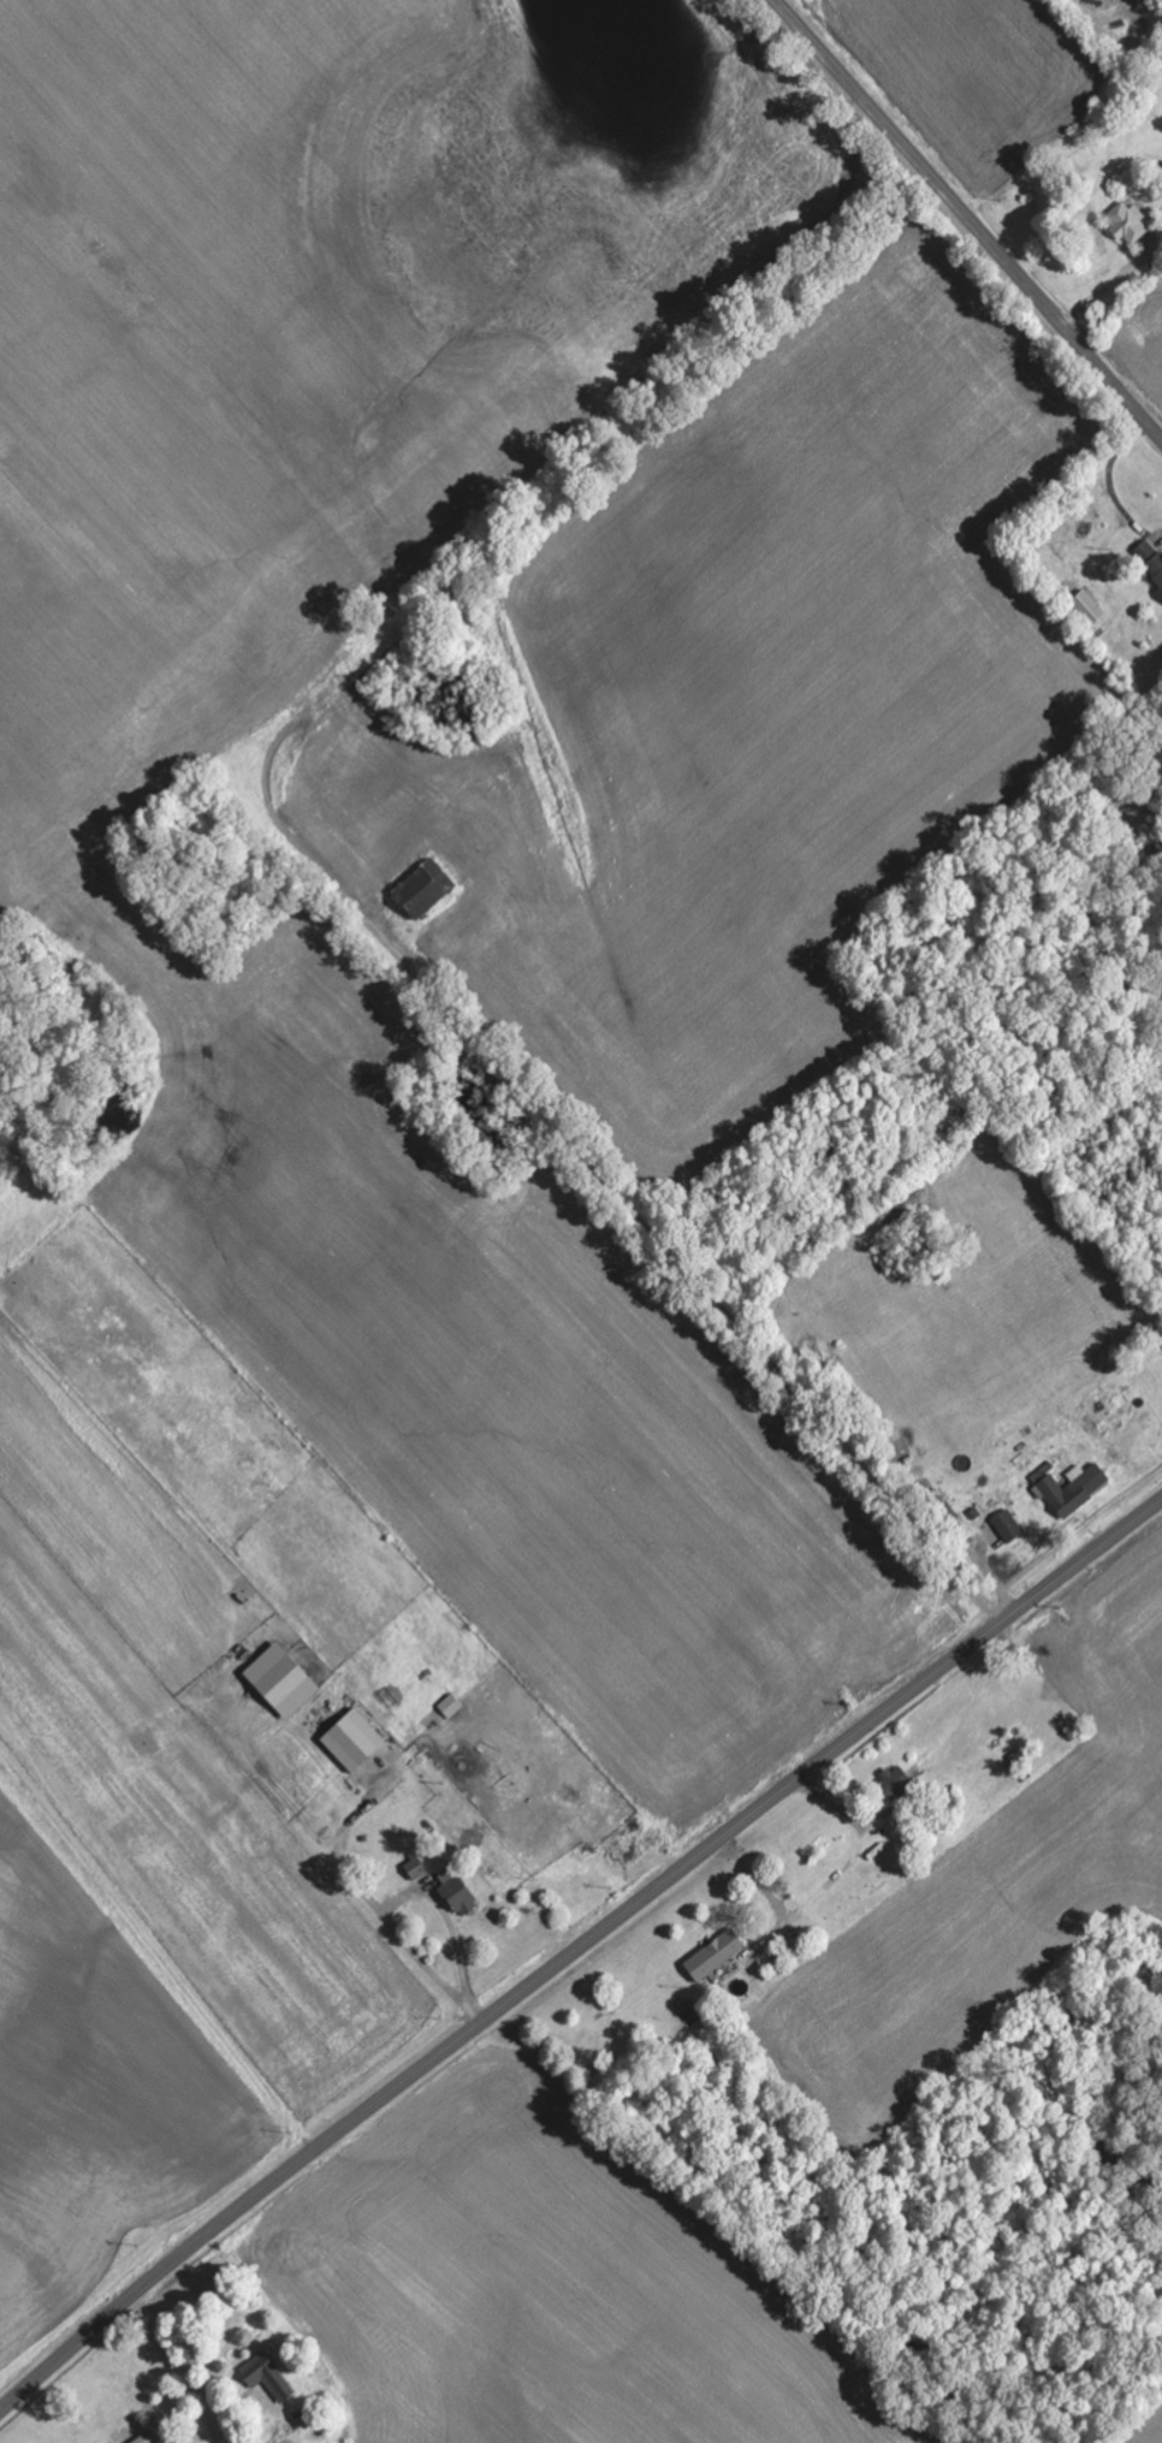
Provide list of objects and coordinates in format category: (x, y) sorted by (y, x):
road: (971, 218)
building: (1130, 225)
building: (1146, 552)
building: (1157, 569)
building: (1161, 593)
building: (1092, 609)
building: (428, 891)
building: (1073, 1488)
building: (1009, 1522)
building: (285, 1682)
building: (452, 1708)
building: (356, 1742)
building: (896, 1784)
building: (419, 1870)
building: (460, 1894)
road: (576, 1952)
building: (717, 1956)
building: (269, 2378)
building: (152, 2438)

